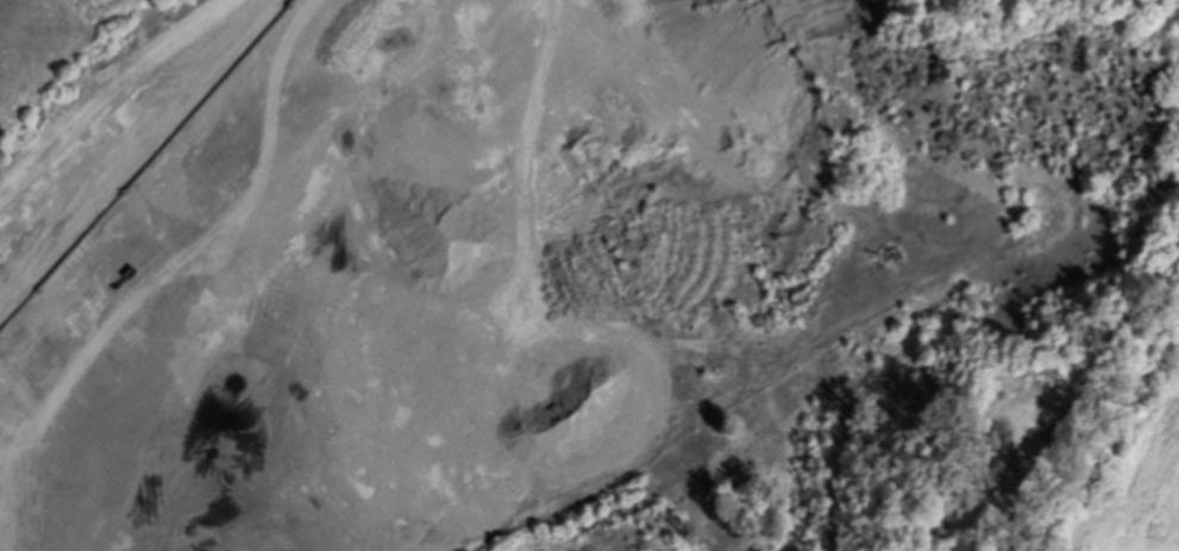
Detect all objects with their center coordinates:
quarry: (582, 273)

